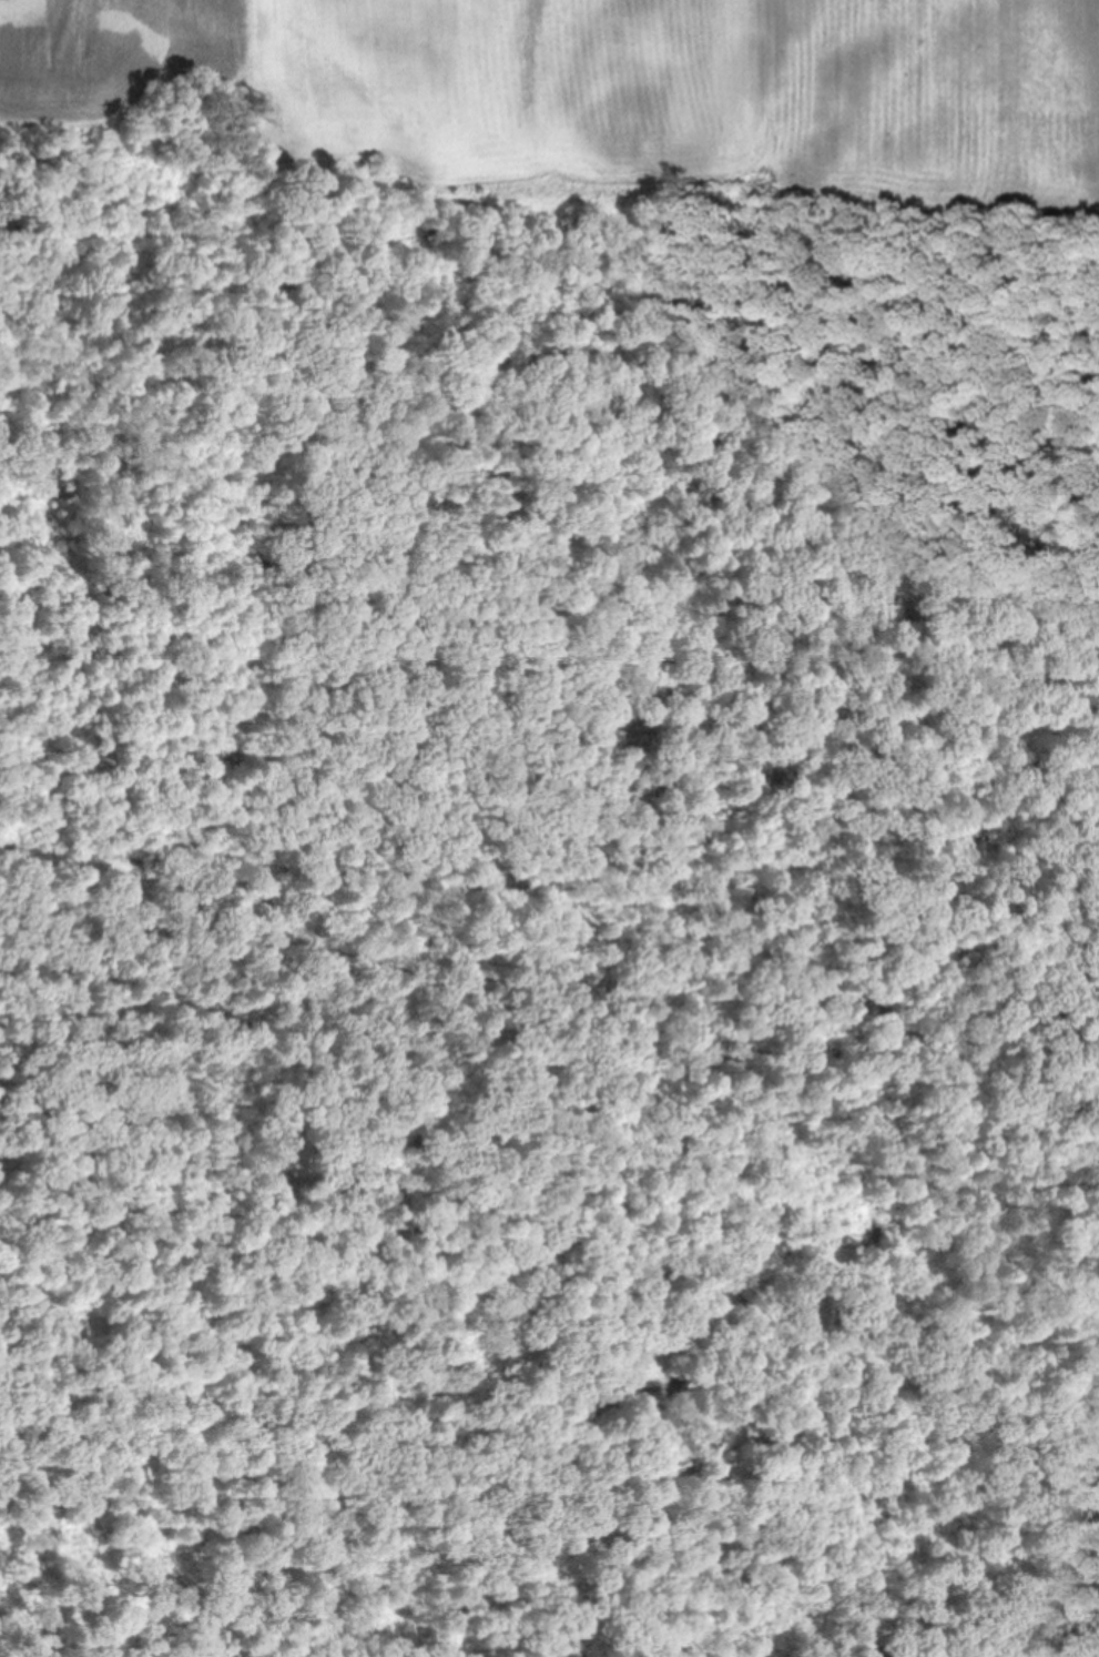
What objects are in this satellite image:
road: (863, 283)
park: (549, 942)
road: (563, 948)

